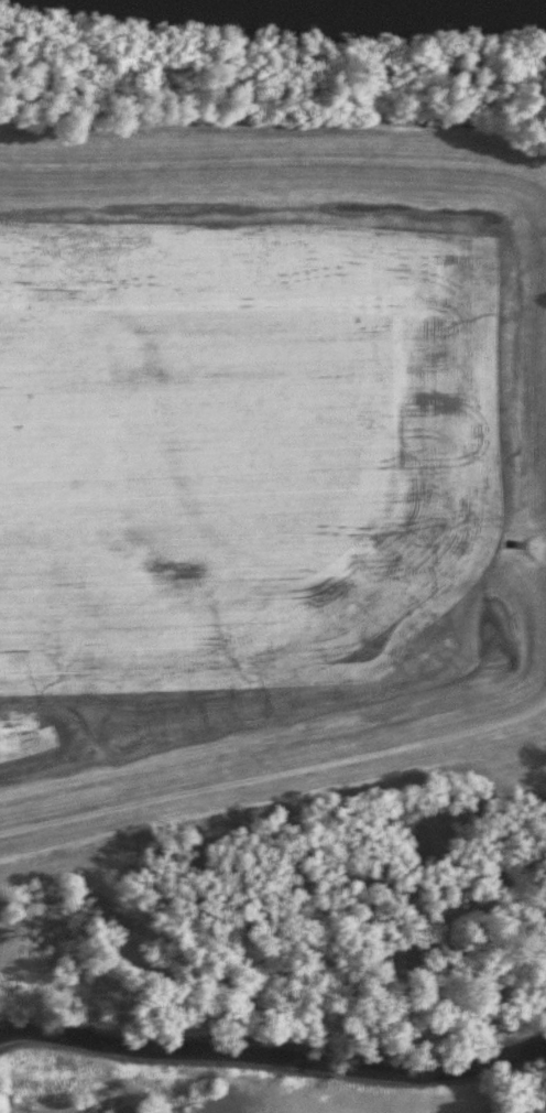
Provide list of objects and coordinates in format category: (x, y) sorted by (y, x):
road: (433, 733)

